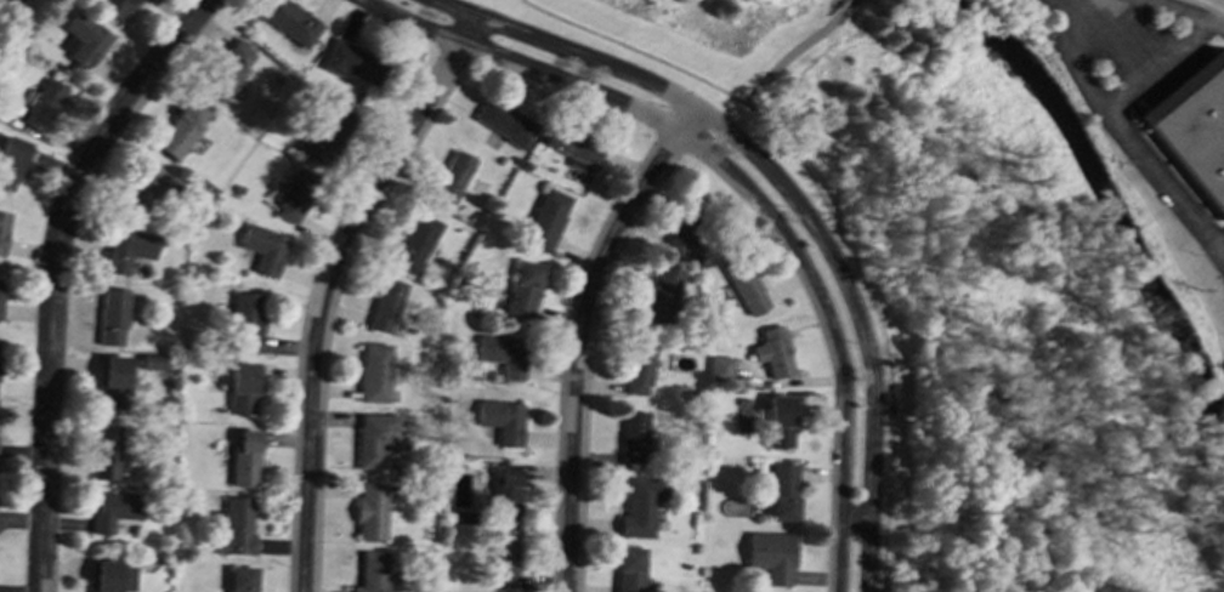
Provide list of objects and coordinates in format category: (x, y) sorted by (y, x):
road: (840, 4)
road: (1214, 4)
building: (115, 6)
road: (1186, 10)
road: (1218, 13)
building: (288, 21)
road: (1219, 23)
road: (1107, 29)
building: (81, 39)
parking lot: (1130, 46)
road: (788, 52)
building: (351, 61)
building: (226, 69)
building: (41, 103)
road: (1107, 112)
building: (503, 120)
building: (1194, 126)
building: (181, 129)
building: (324, 133)
building: (571, 143)
building: (12, 160)
building: (450, 180)
road: (1167, 182)
road: (743, 188)
building: (148, 190)
building: (294, 195)
road: (790, 195)
river: (1107, 201)
road: (828, 216)
building: (545, 218)
building: (2, 229)
building: (682, 239)
building: (414, 243)
building: (263, 247)
building: (126, 249)
road: (53, 273)
road: (328, 286)
building: (523, 289)
building: (746, 289)
building: (0, 291)
building: (659, 295)
building: (385, 304)
building: (112, 315)
building: (246, 321)
road: (579, 336)
building: (772, 352)
building: (504, 354)
building: (637, 366)
building: (720, 368)
building: (375, 372)
building: (113, 380)
building: (243, 386)
building: (503, 420)
building: (780, 420)
building: (634, 437)
building: (374, 438)
building: (104, 451)
building: (244, 459)
building: (782, 491)
building: (506, 493)
building: (639, 506)
building: (113, 508)
building: (372, 511)
building: (234, 526)
building: (770, 556)
building: (504, 558)
building: (628, 569)
building: (372, 571)
building: (110, 576)
building: (240, 579)

